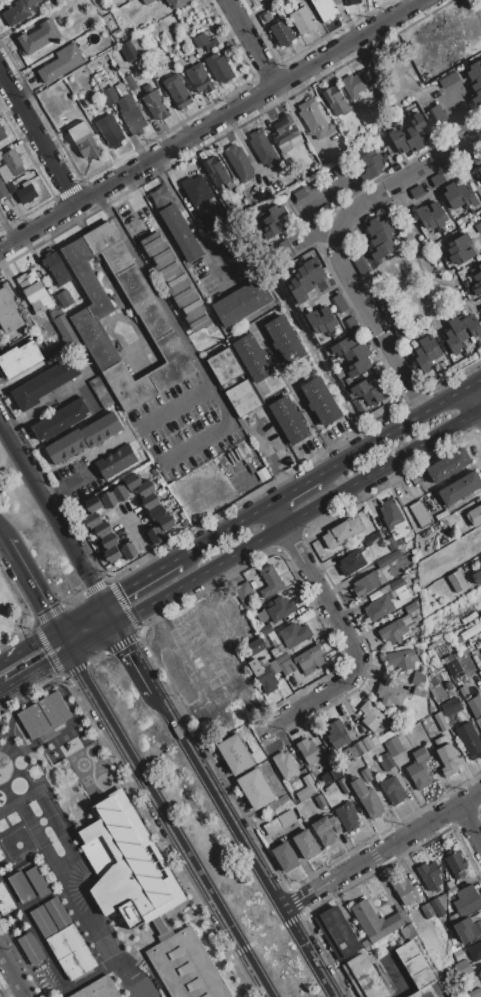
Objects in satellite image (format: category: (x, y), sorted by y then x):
building: (126, 0)
building: (59, 1)
building: (147, 2)
building: (351, 2)
building: (178, 3)
building: (338, 4)
building: (325, 9)
building: (18, 11)
building: (266, 17)
building: (303, 20)
building: (282, 32)
building: (40, 36)
building: (204, 42)
road: (249, 42)
building: (127, 51)
building: (61, 63)
building: (219, 67)
building: (474, 70)
building: (199, 78)
building: (448, 79)
building: (129, 83)
building: (355, 84)
building: (477, 84)
building: (177, 91)
building: (476, 98)
building: (336, 101)
building: (154, 102)
building: (125, 108)
building: (435, 112)
building: (314, 118)
road: (209, 124)
building: (420, 126)
building: (110, 131)
building: (284, 132)
building: (2, 133)
road: (39, 137)
building: (413, 139)
building: (84, 140)
building: (398, 140)
building: (263, 148)
building: (475, 157)
building: (369, 159)
building: (13, 161)
building: (239, 162)
road: (471, 168)
building: (339, 169)
building: (372, 170)
building: (479, 170)
building: (215, 171)
building: (10, 188)
building: (2, 190)
building: (196, 190)
building: (417, 191)
building: (26, 192)
building: (299, 193)
road: (136, 194)
building: (452, 196)
building: (467, 196)
building: (160, 197)
road: (311, 203)
road: (105, 204)
building: (472, 211)
building: (437, 214)
building: (276, 217)
building: (425, 218)
building: (205, 223)
building: (377, 225)
building: (477, 226)
building: (442, 231)
building: (180, 232)
building: (382, 236)
building: (458, 243)
road: (338, 248)
building: (382, 250)
road: (414, 253)
building: (461, 255)
building: (446, 256)
building: (302, 258)
building: (446, 260)
building: (361, 265)
building: (292, 267)
building: (56, 268)
building: (313, 271)
building: (476, 273)
building: (304, 279)
building: (175, 281)
building: (466, 283)
park: (409, 288)
building: (477, 288)
building: (297, 290)
building: (34, 291)
building: (64, 299)
building: (241, 301)
building: (338, 303)
building: (9, 312)
building: (55, 312)
building: (85, 318)
building: (328, 318)
road: (433, 320)
building: (315, 322)
building: (350, 324)
building: (472, 325)
building: (64, 326)
building: (459, 329)
building: (43, 332)
building: (284, 339)
building: (452, 341)
building: (478, 342)
building: (343, 346)
building: (428, 347)
building: (357, 351)
road: (191, 354)
building: (464, 354)
building: (252, 357)
building: (19, 359)
building: (422, 359)
building: (224, 367)
building: (358, 367)
building: (378, 372)
road: (474, 382)
building: (43, 383)
building: (362, 388)
building: (101, 392)
building: (375, 395)
building: (242, 399)
road: (474, 399)
building: (321, 401)
road: (41, 407)
building: (60, 419)
building: (288, 420)
building: (101, 429)
road: (390, 432)
road: (115, 438)
building: (66, 446)
road: (273, 458)
building: (116, 461)
building: (448, 465)
road: (246, 479)
building: (132, 481)
building: (146, 488)
building: (460, 488)
road: (291, 489)
building: (120, 493)
building: (109, 500)
building: (150, 501)
building: (93, 504)
building: (157, 512)
building: (390, 513)
building: (420, 514)
building: (474, 515)
road: (49, 517)
building: (92, 520)
building: (166, 522)
building: (103, 529)
road: (275, 531)
building: (342, 532)
road: (218, 533)
building: (155, 535)
road: (1, 538)
building: (374, 540)
building: (109, 541)
building: (399, 542)
building: (391, 543)
road: (142, 544)
building: (128, 551)
building: (111, 554)
building: (480, 556)
building: (389, 559)
building: (352, 562)
building: (477, 577)
building: (269, 581)
building: (457, 581)
building: (396, 583)
road: (134, 584)
building: (366, 584)
road: (29, 585)
building: (385, 589)
traffic signals: (120, 593)
building: (244, 595)
building: (374, 595)
building: (402, 595)
building: (411, 607)
building: (280, 608)
building: (379, 608)
park: (13, 609)
traffic signals: (44, 610)
road: (106, 615)
building: (409, 620)
building: (265, 629)
road: (345, 629)
building: (392, 631)
building: (295, 633)
building: (480, 633)
road: (50, 634)
road: (62, 641)
traffic signals: (124, 645)
building: (255, 646)
building: (263, 651)
building: (280, 655)
building: (477, 656)
road: (131, 658)
building: (309, 659)
building: (401, 659)
traffic signals: (48, 663)
building: (285, 667)
road: (36, 669)
building: (266, 677)
building: (418, 679)
building: (448, 685)
road: (3, 690)
building: (419, 692)
building: (390, 695)
building: (466, 697)
building: (451, 707)
building: (44, 715)
building: (372, 716)
building: (440, 722)
building: (479, 722)
building: (337, 734)
building: (384, 736)
building: (469, 740)
building: (374, 741)
building: (367, 743)
building: (393, 746)
building: (359, 747)
building: (309, 751)
building: (352, 751)
building: (235, 754)
building: (446, 756)
building: (386, 763)
building: (284, 765)
building: (418, 769)
building: (367, 774)
building: (306, 788)
building: (255, 789)
building: (392, 790)
building: (367, 798)
building: (321, 802)
building: (347, 816)
building: (286, 818)
road: (169, 824)
road: (470, 826)
building: (272, 827)
building: (323, 830)
road: (241, 843)
building: (306, 844)
road: (380, 851)
building: (1, 856)
building: (285, 857)
building: (455, 864)
building: (129, 866)
building: (430, 875)
building: (38, 881)
building: (21, 887)
road: (73, 889)
building: (451, 889)
building: (406, 891)
building: (442, 901)
building: (466, 901)
building: (5, 902)
building: (437, 907)
building: (427, 911)
building: (454, 918)
building: (374, 921)
building: (158, 926)
building: (468, 930)
building: (408, 932)
building: (337, 933)
road: (265, 936)
building: (64, 938)
building: (30, 948)
building: (475, 951)
building: (185, 966)
building: (476, 966)
building: (461, 967)
building: (417, 969)
building: (480, 972)
road: (13, 973)
building: (364, 977)
building: (98, 989)
building: (475, 993)

